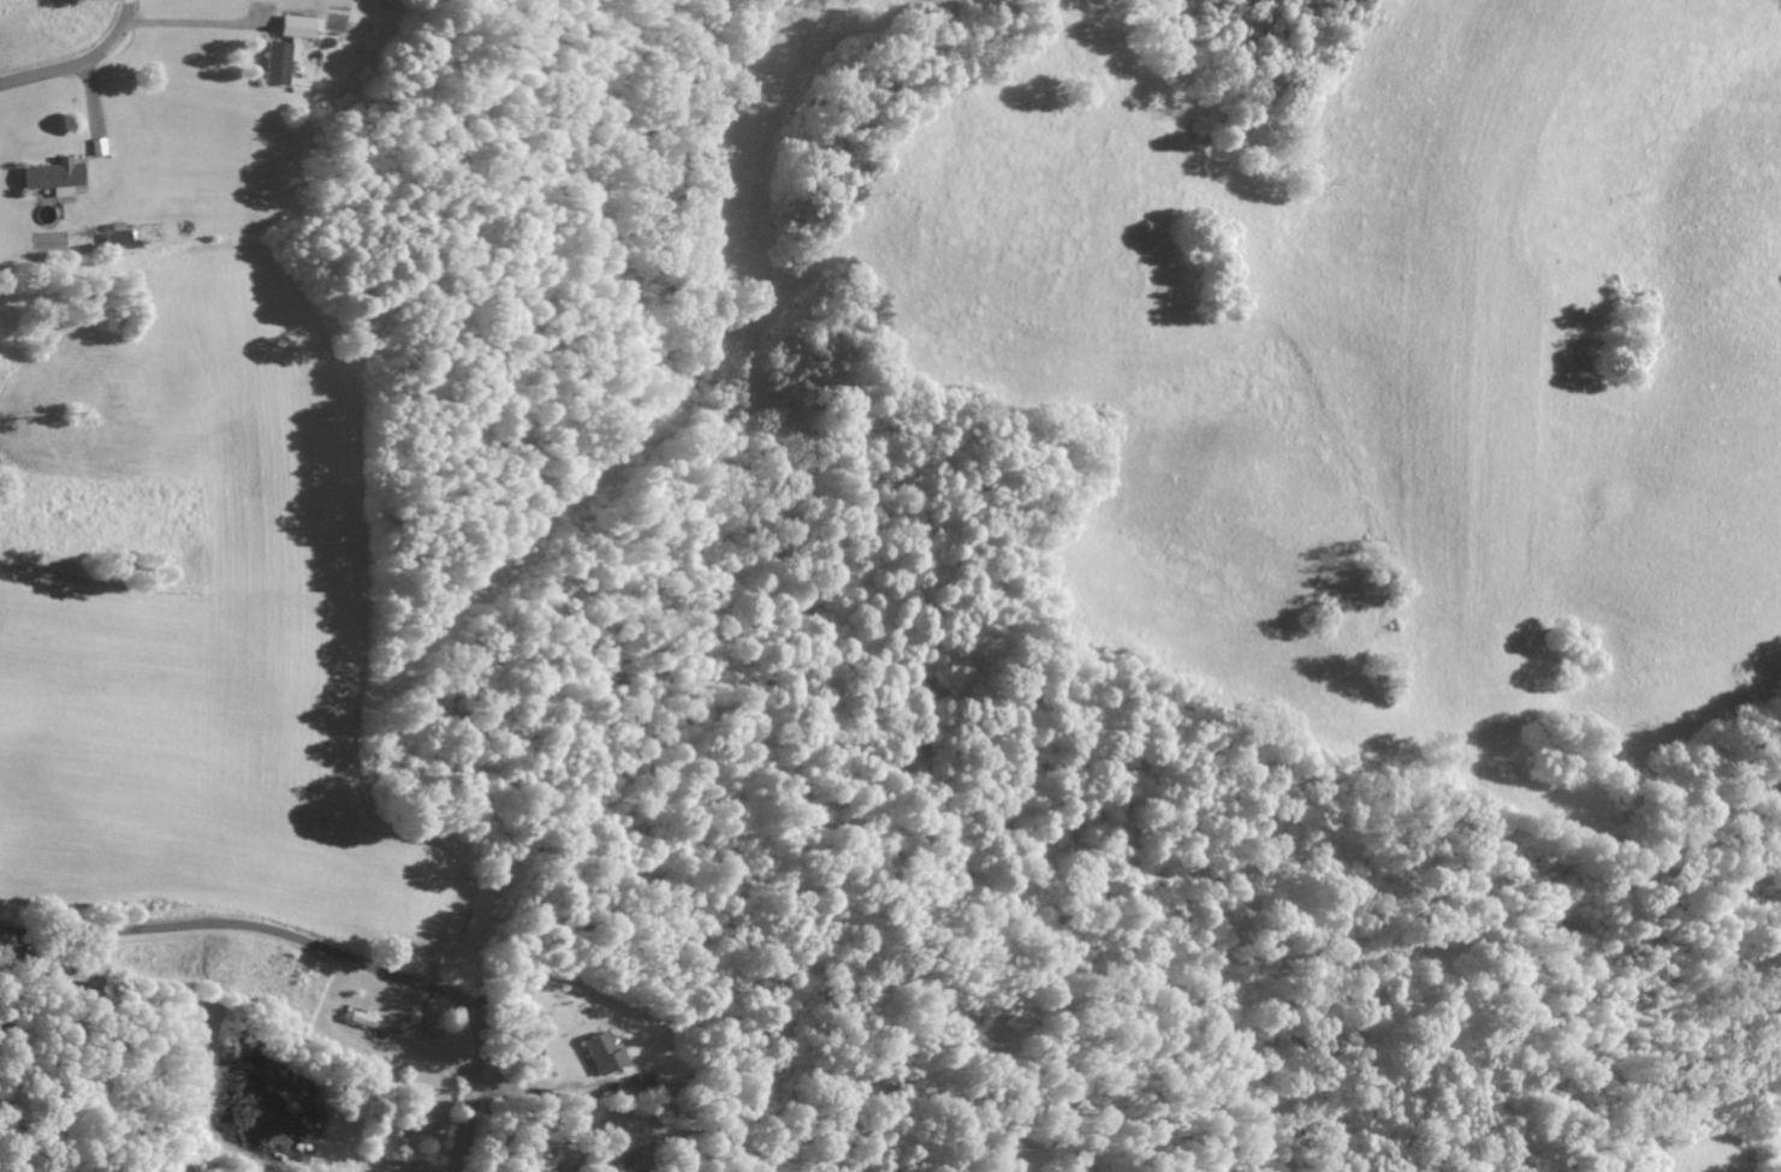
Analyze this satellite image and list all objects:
building: (287, 47)
road: (79, 63)
building: (54, 175)
building: (117, 237)
road: (1455, 664)
road: (322, 950)
building: (604, 1052)

